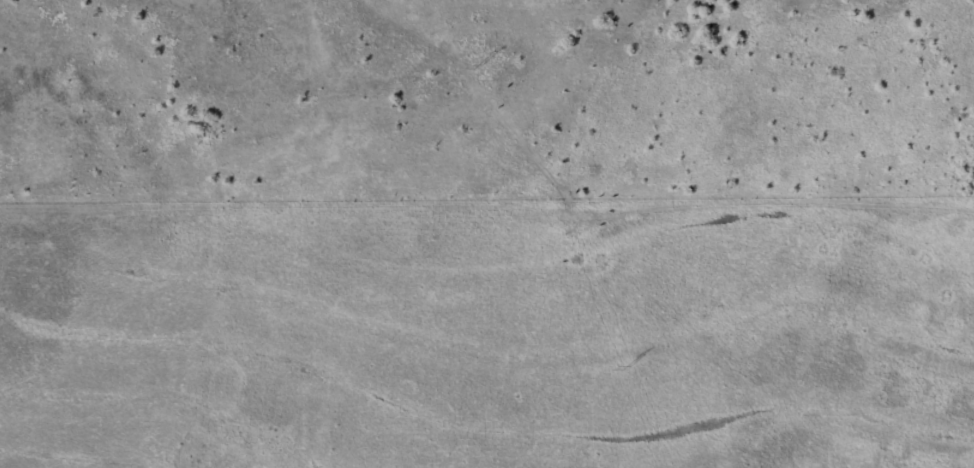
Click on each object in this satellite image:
power tower: (480, 62)
power tower: (630, 364)

